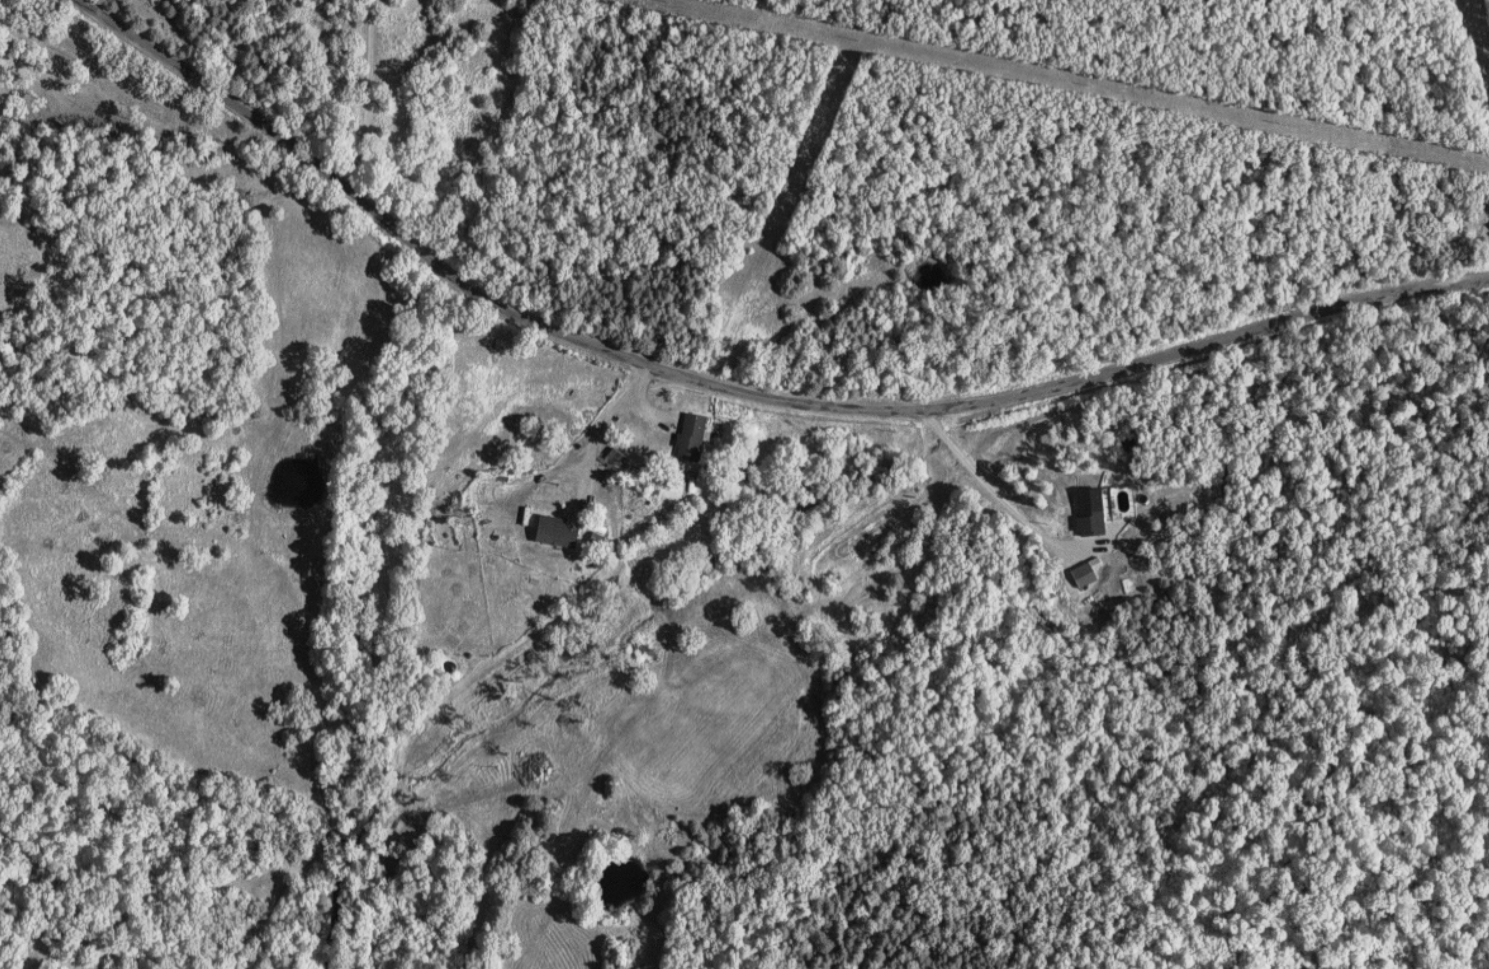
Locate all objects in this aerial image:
road: (1479, 21)
road: (374, 96)
road: (740, 382)
road: (642, 429)
building: (689, 437)
building: (612, 459)
road: (982, 480)
building: (1089, 511)
building: (553, 532)
building: (595, 539)
building: (1085, 572)

